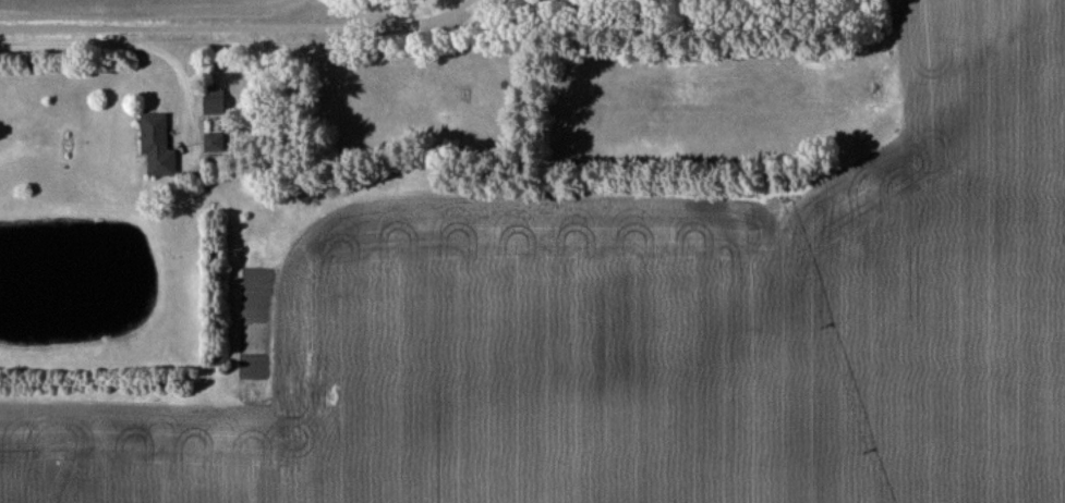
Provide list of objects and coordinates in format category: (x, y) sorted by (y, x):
road: (93, 37)
building: (210, 101)
building: (211, 142)
building: (154, 145)

